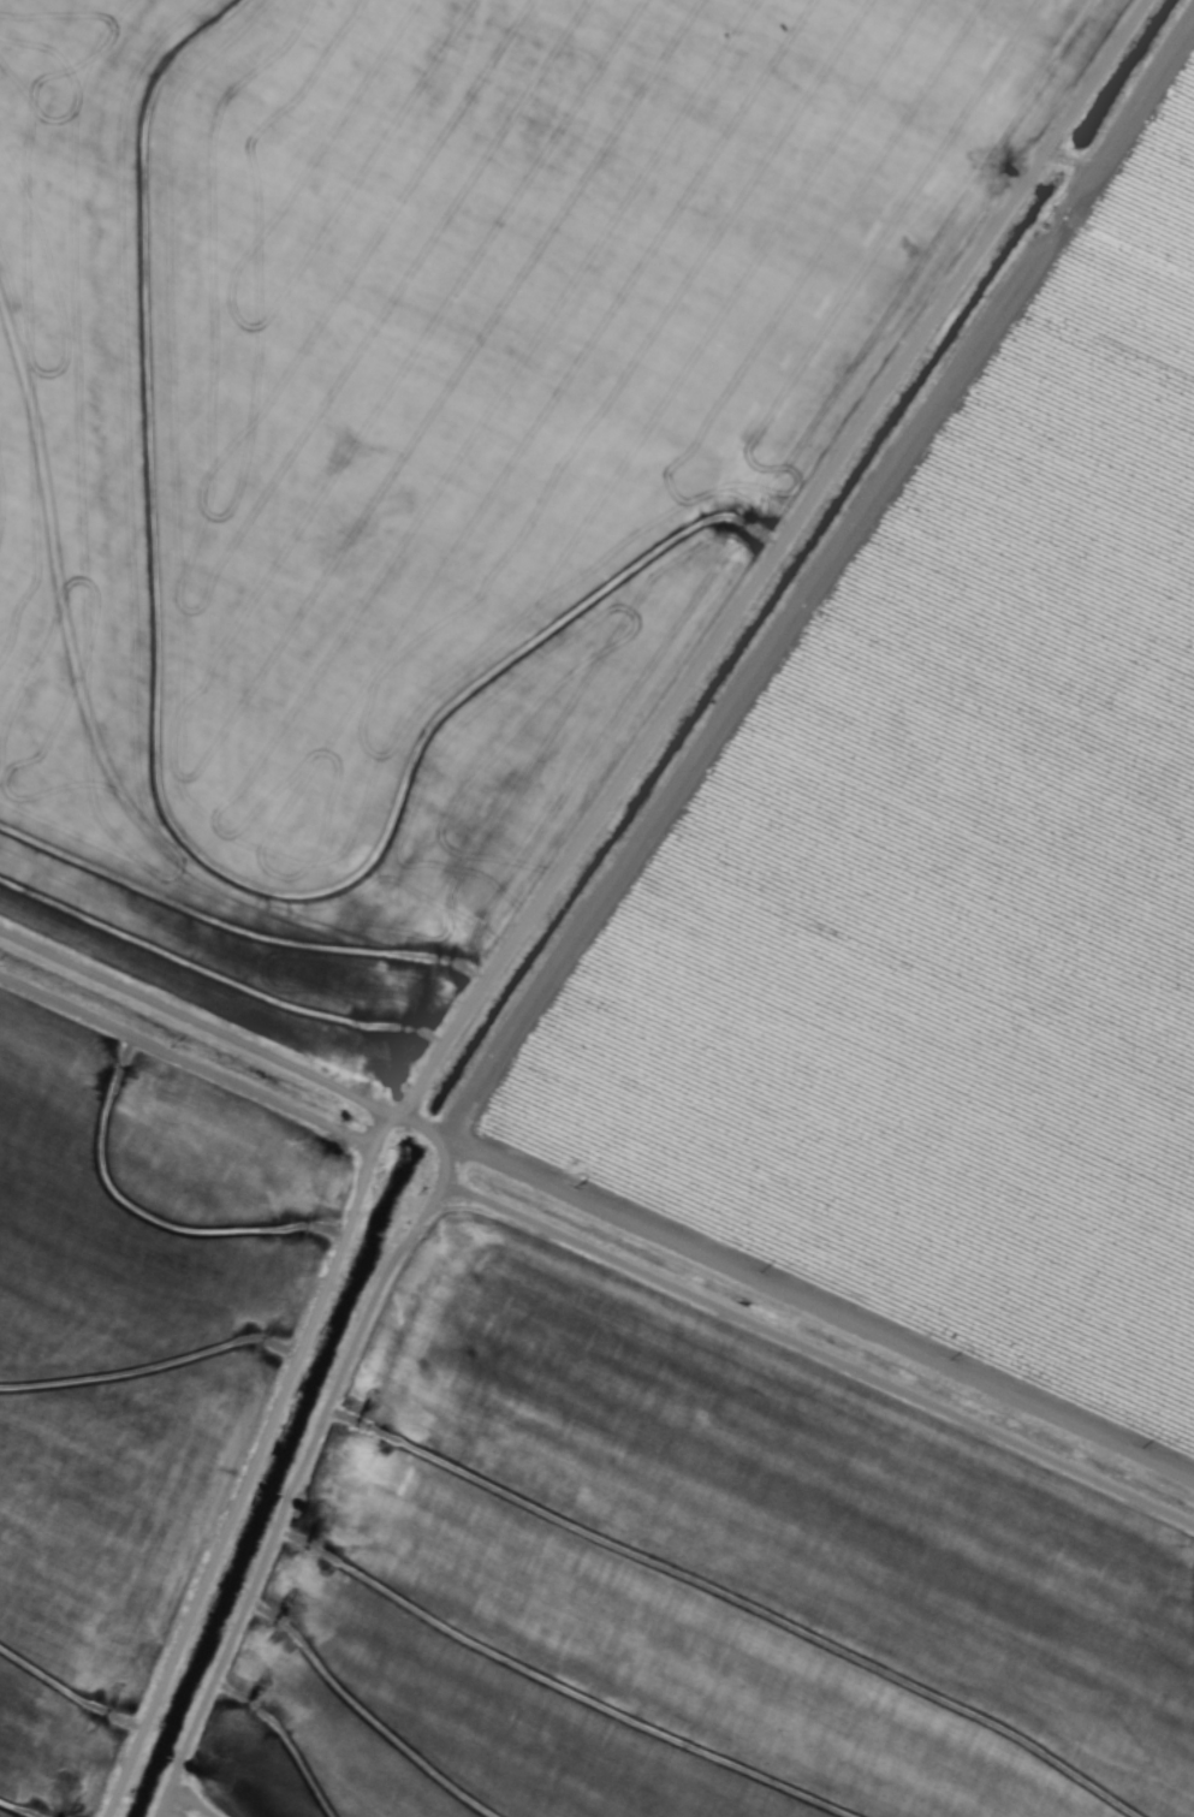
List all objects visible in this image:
crop: (596, 908)

